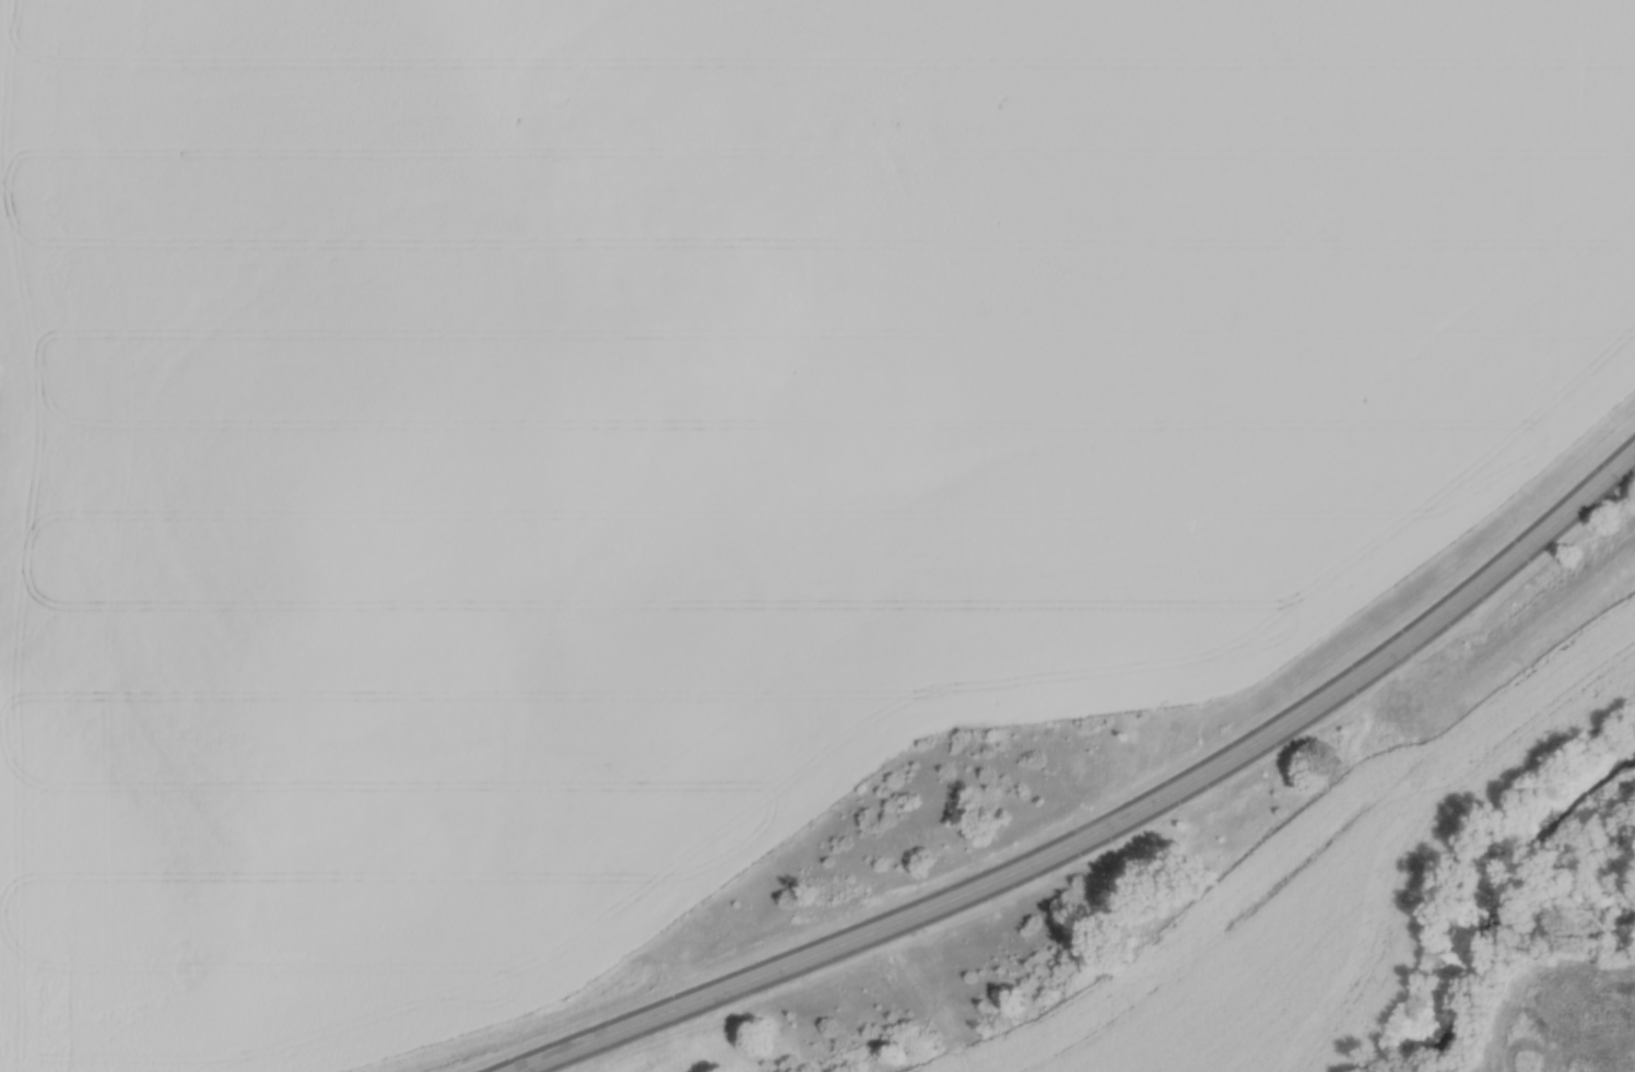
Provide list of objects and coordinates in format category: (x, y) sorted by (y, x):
road: (1116, 826)

